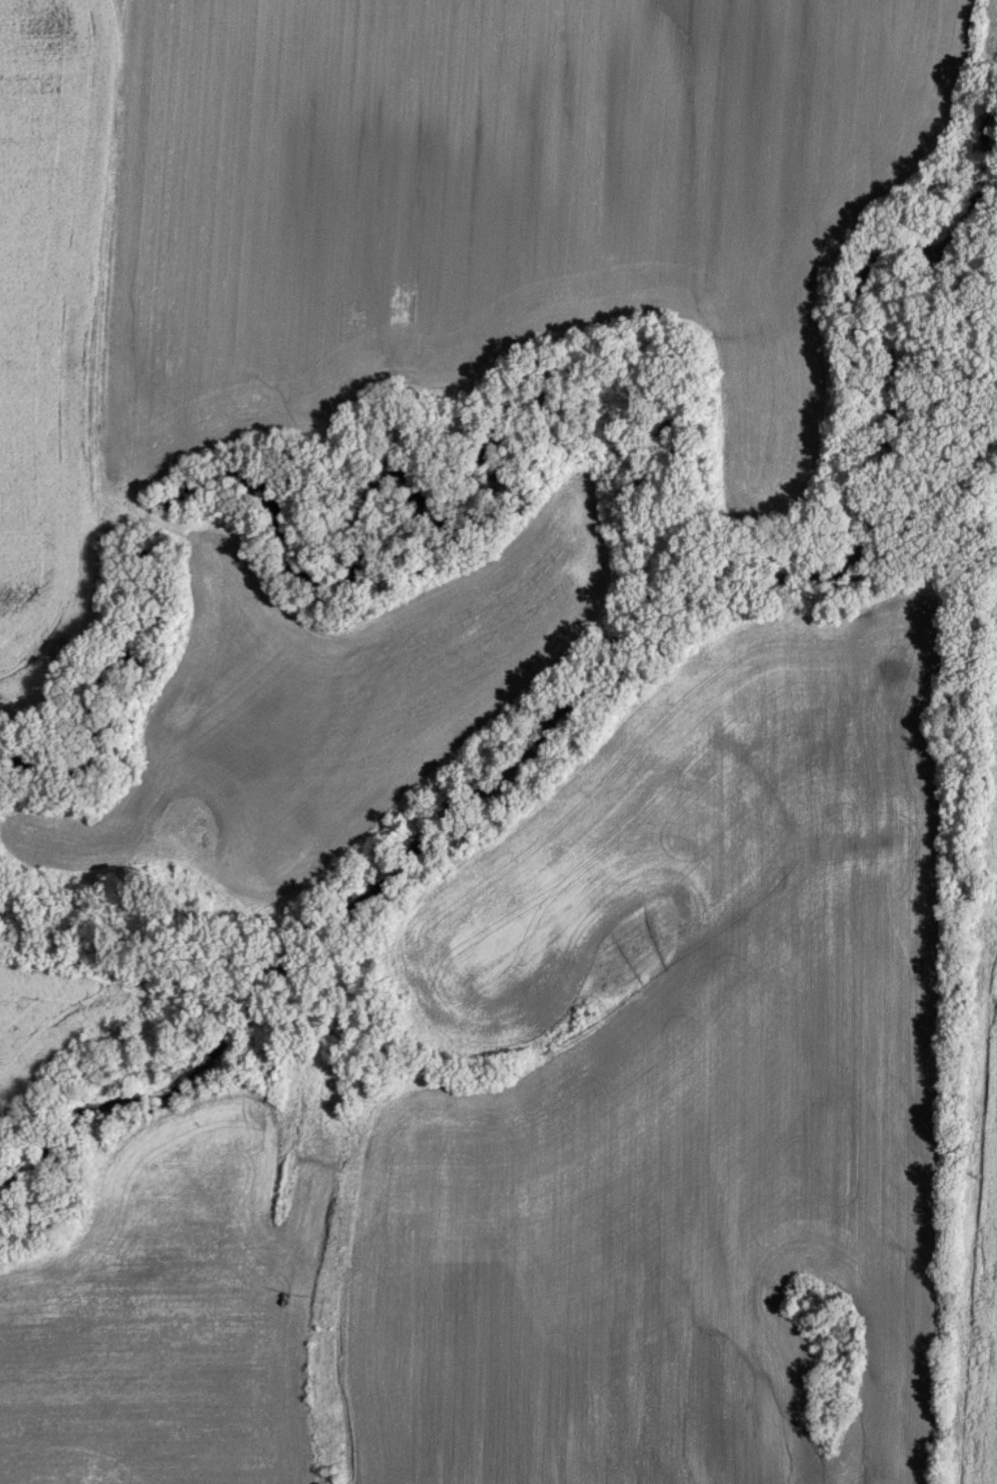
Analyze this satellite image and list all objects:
road: (98, 263)

